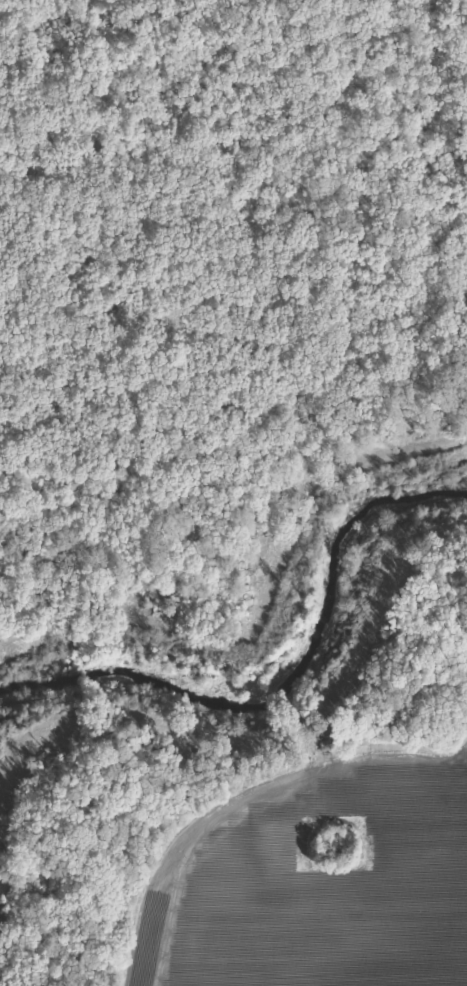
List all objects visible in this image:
river: (283, 666)

